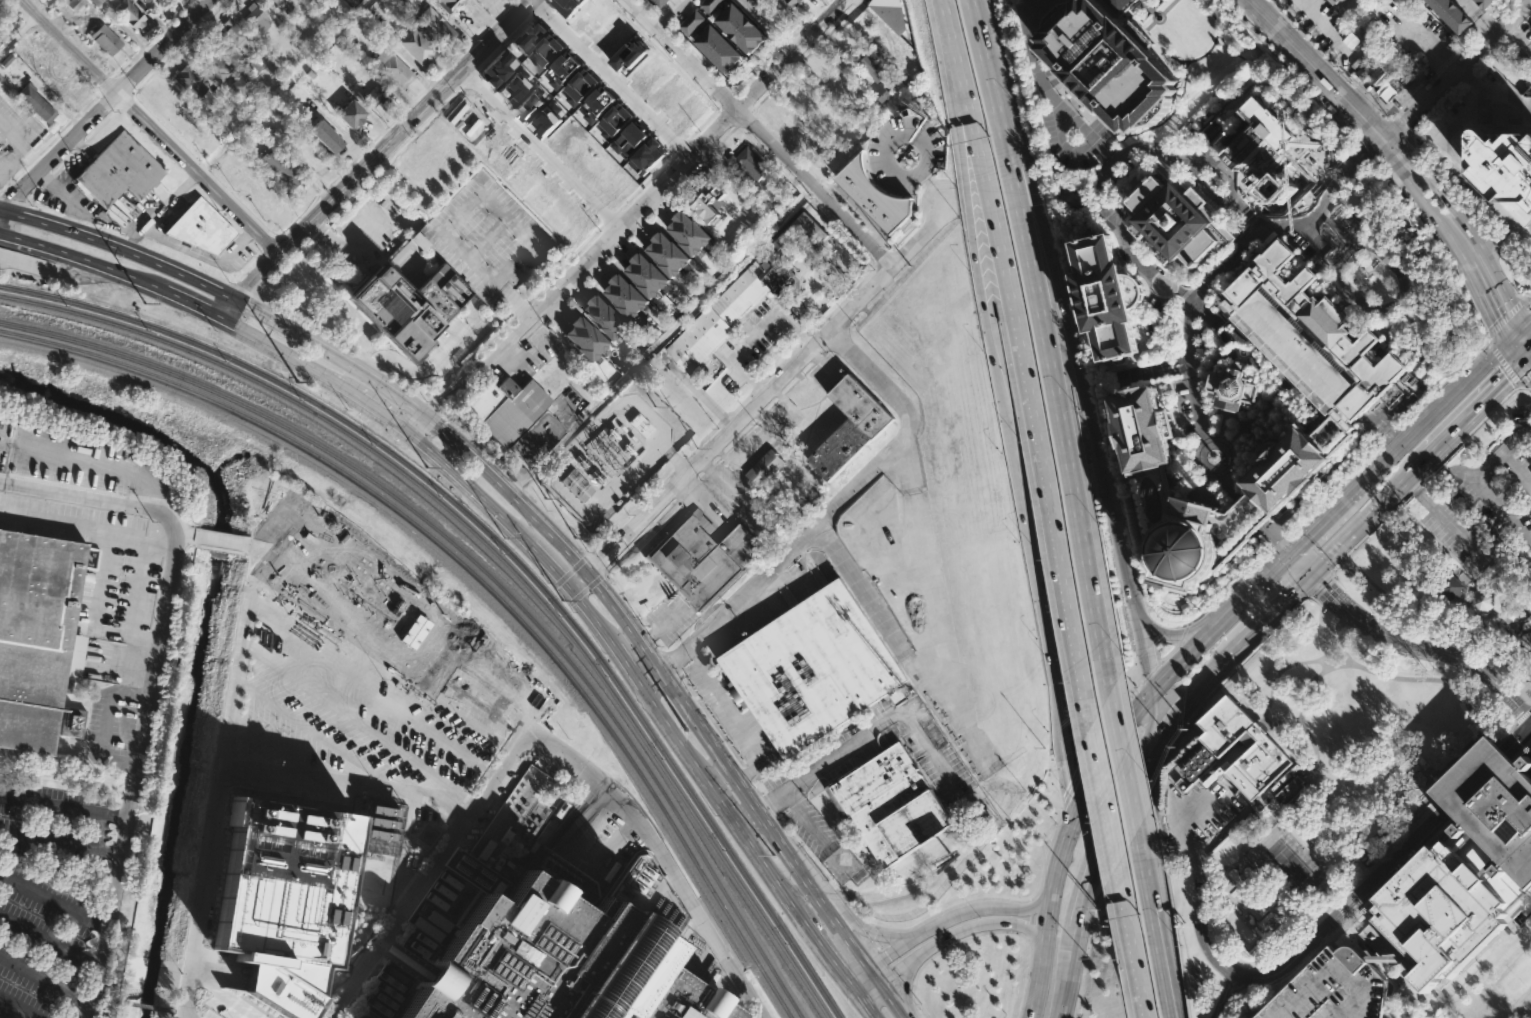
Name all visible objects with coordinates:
building: (263, 0)
road: (1354, 0)
building: (1020, 1)
building: (96, 2)
building: (140, 2)
building: (281, 2)
building: (659, 2)
building: (793, 2)
building: (1338, 2)
building: (1485, 3)
building: (75, 4)
building: (1120, 4)
building: (449, 5)
building: (711, 5)
road: (42, 6)
road: (1504, 7)
road: (651, 8)
road: (1036, 9)
road: (669, 13)
building: (130, 14)
building: (893, 14)
building: (1450, 14)
road: (1477, 15)
building: (256, 18)
road: (663, 20)
road: (1524, 21)
building: (692, 23)
building: (434, 25)
road: (1486, 25)
building: (741, 29)
road: (1327, 30)
parking lot: (1328, 30)
road: (1512, 33)
road: (151, 36)
building: (236, 37)
building: (529, 37)
building: (106, 40)
road: (1502, 42)
road: (1310, 43)
road: (324, 44)
road: (1424, 44)
road: (1466, 44)
road: (70, 45)
building: (418, 47)
building: (718, 48)
road: (955, 50)
building: (547, 52)
road: (1491, 53)
building: (631, 54)
road: (805, 54)
building: (1111, 62)
road: (1479, 65)
building: (871, 66)
building: (217, 67)
building: (497, 67)
building: (392, 68)
road: (1287, 68)
building: (564, 69)
road: (1314, 69)
road: (1454, 69)
road: (1437, 73)
road: (1467, 75)
road: (609, 79)
road: (745, 79)
building: (190, 81)
road: (106, 82)
road: (123, 83)
building: (63, 84)
building: (241, 85)
building: (513, 86)
building: (581, 88)
building: (1387, 88)
road: (1355, 93)
road: (1491, 93)
building: (374, 94)
building: (881, 94)
road: (1362, 95)
road: (1417, 95)
road: (107, 97)
road: (742, 100)
building: (813, 100)
road: (1411, 100)
road: (123, 101)
building: (35, 103)
road: (103, 104)
building: (598, 104)
building: (526, 105)
road: (1407, 105)
road: (1376, 109)
road: (1428, 113)
building: (350, 114)
road: (741, 116)
road: (1072, 118)
road: (1390, 118)
building: (616, 121)
road: (67, 122)
road: (1368, 124)
road: (100, 126)
building: (1257, 130)
road: (1397, 131)
road: (760, 132)
building: (325, 137)
building: (631, 140)
road: (891, 143)
road: (1067, 144)
road: (19, 146)
road: (81, 146)
road: (1368, 146)
road: (967, 147)
road: (538, 149)
road: (1372, 154)
road: (372, 156)
building: (648, 156)
road: (31, 159)
road: (1402, 161)
road: (64, 162)
road: (12, 163)
building: (748, 163)
building: (1503, 163)
road: (1458, 168)
building: (280, 169)
road: (1281, 169)
road: (19, 171)
building: (119, 172)
road: (195, 172)
road: (47, 180)
road: (9, 181)
road: (9, 182)
road: (931, 185)
building: (771, 186)
road: (2, 188)
road: (34, 193)
road: (357, 193)
building: (874, 193)
road: (1235, 193)
road: (1454, 194)
road: (1415, 195)
road: (64, 197)
road: (13, 200)
road: (476, 201)
building: (710, 204)
building: (1519, 209)
road: (160, 210)
road: (1030, 211)
road: (1250, 215)
road: (2, 217)
road: (628, 218)
building: (1176, 219)
road: (106, 220)
road: (1530, 220)
road: (1465, 222)
road: (869, 226)
building: (202, 228)
road: (320, 231)
building: (689, 232)
road: (276, 234)
road: (1312, 234)
building: (486, 237)
parking garage: (486, 237)
road: (358, 239)
building: (417, 240)
road: (488, 240)
road: (1125, 240)
road: (1500, 241)
road: (1497, 243)
road: (1249, 246)
road: (1376, 246)
road: (1444, 251)
building: (667, 253)
building: (399, 255)
road: (203, 256)
road: (71, 258)
road: (883, 258)
road: (596, 267)
road: (871, 267)
road: (47, 274)
building: (646, 274)
road: (549, 276)
road: (1512, 278)
road: (43, 285)
road: (225, 291)
building: (626, 294)
building: (1106, 295)
road: (1482, 296)
road: (183, 302)
building: (406, 302)
road: (280, 307)
road: (516, 307)
road: (519, 307)
road: (470, 309)
building: (729, 310)
building: (604, 316)
road: (1509, 319)
road: (1527, 324)
traffic signals: (1496, 328)
road: (1527, 330)
road: (987, 331)
building: (1308, 335)
road: (1515, 335)
building: (583, 337)
road: (804, 339)
road: (486, 343)
road: (1047, 344)
road: (1500, 349)
road: (1515, 354)
road: (284, 355)
road: (1528, 358)
road: (1504, 361)
road: (377, 363)
road: (780, 363)
road: (1528, 364)
road: (423, 371)
road: (1152, 371)
road: (447, 374)
road: (1524, 374)
road: (451, 377)
road: (1444, 380)
traffic signals: (1507, 380)
building: (1232, 385)
road: (1526, 386)
road: (756, 387)
road: (417, 391)
road: (759, 399)
road: (1086, 401)
road: (742, 402)
road: (1197, 403)
road: (436, 408)
road: (768, 408)
building: (504, 409)
road: (1474, 410)
road: (1033, 412)
road: (379, 414)
road: (1208, 414)
road: (1256, 414)
road: (723, 420)
road: (1372, 421)
road: (1421, 422)
building: (1142, 424)
road: (1223, 425)
road: (1240, 426)
building: (849, 427)
road: (1469, 432)
road: (1391, 433)
road: (467, 434)
road: (1253, 435)
road: (1394, 435)
building: (536, 438)
road: (1232, 438)
road: (701, 441)
power substation: (613, 456)
building: (1292, 461)
road: (681, 464)
road: (1517, 464)
road: (1487, 465)
building: (763, 467)
road: (501, 468)
road: (708, 468)
road: (1217, 469)
road: (1329, 471)
road: (700, 477)
road: (1226, 482)
road: (518, 485)
road: (1414, 487)
road: (471, 488)
road: (1335, 488)
road: (686, 490)
road: (848, 493)
road: (651, 496)
parking lot: (1486, 507)
road: (1500, 508)
road: (1249, 509)
road: (737, 514)
road: (1368, 516)
road: (1443, 519)
road: (542, 522)
road: (1321, 522)
road: (1265, 526)
road: (87, 527)
road: (619, 527)
building: (1190, 531)
road: (1369, 531)
road: (564, 532)
road: (217, 537)
road: (637, 539)
road: (1279, 540)
road: (1280, 542)
railway: (503, 549)
traffic signals: (1291, 552)
road: (1309, 552)
railway: (497, 555)
building: (701, 559)
road: (340, 561)
road: (545, 566)
railway: (483, 571)
road: (1288, 573)
traffic signals: (1311, 573)
railway: (477, 577)
road: (1317, 583)
road: (1466, 585)
road: (1228, 586)
building: (1451, 586)
road: (1255, 588)
road: (139, 591)
building: (1482, 600)
road: (1278, 605)
road: (1135, 610)
road: (1045, 613)
road: (94, 614)
road: (1318, 615)
road: (1438, 615)
road: (588, 617)
road: (1483, 617)
road: (661, 625)
road: (1173, 631)
road: (1183, 632)
building: (36, 637)
road: (1509, 639)
road: (1338, 640)
road: (1405, 645)
road: (1169, 651)
road: (383, 657)
road: (649, 658)
road: (674, 658)
road: (139, 663)
road: (1323, 663)
road: (126, 666)
road: (1154, 666)
road: (1530, 666)
road: (626, 668)
building: (811, 668)
road: (1283, 669)
road: (1144, 678)
road: (649, 679)
road: (1313, 679)
road: (1440, 679)
road: (149, 683)
road: (1158, 685)
road: (1520, 690)
road: (371, 691)
traffic signals: (1152, 693)
building: (898, 696)
road: (1191, 696)
helipad: (294, 699)
road: (1111, 714)
road: (1150, 716)
road: (1521, 716)
road: (735, 718)
road: (712, 721)
road: (1285, 721)
building: (72, 722)
road: (359, 722)
road: (102, 723)
road: (1263, 724)
road: (1505, 733)
road: (1520, 733)
road: (1518, 737)
road: (551, 740)
road: (1530, 741)
building: (334, 743)
road: (927, 745)
road: (848, 746)
road: (1528, 747)
road: (1522, 748)
building: (1249, 751)
road: (347, 754)
road: (1513, 756)
road: (1123, 760)
road: (1416, 765)
road: (1468, 770)
road: (749, 771)
road: (1075, 776)
parking lot: (322, 777)
road: (1093, 778)
road: (1476, 778)
road: (61, 780)
road: (1075, 780)
road: (220, 781)
road: (1146, 784)
road: (1483, 785)
road: (753, 786)
road: (1130, 786)
road: (126, 791)
road: (1102, 795)
road: (767, 800)
traffic signals: (1080, 802)
road: (720, 803)
road: (1306, 803)
building: (888, 804)
road: (766, 805)
road: (62, 808)
road: (1096, 812)
traffic signals: (1116, 812)
road: (743, 816)
road: (1451, 816)
road: (804, 818)
road: (1383, 826)
building: (381, 827)
building: (427, 833)
road: (59, 846)
road: (780, 846)
road: (1387, 849)
road: (575, 856)
park: (1289, 861)
road: (1095, 869)
building: (1457, 869)
road: (428, 870)
road: (822, 873)
road: (1240, 878)
road: (1054, 879)
road: (1387, 880)
road: (1310, 893)
road: (1326, 893)
parking lot: (46, 894)
building: (279, 896)
road: (997, 897)
road: (53, 901)
road: (993, 907)
road: (1030, 918)
road: (1259, 919)
road: (984, 923)
road: (1155, 923)
fountain: (1238, 927)
road: (983, 930)
road: (878, 932)
road: (1130, 941)
road: (50, 943)
road: (1317, 945)
road: (1332, 946)
road: (1246, 948)
road: (826, 950)
road: (889, 954)
road: (1292, 958)
road: (882, 960)
building: (559, 964)
road: (821, 967)
road: (1067, 972)
road: (888, 978)
road: (46, 980)
road: (904, 986)
park: (1499, 986)
road: (1034, 988)
building: (1332, 989)
parking garage: (1332, 989)
road: (855, 990)
road: (223, 995)
road: (1226, 995)
road: (18, 1008)
road: (867, 1008)
road: (191, 1013)

